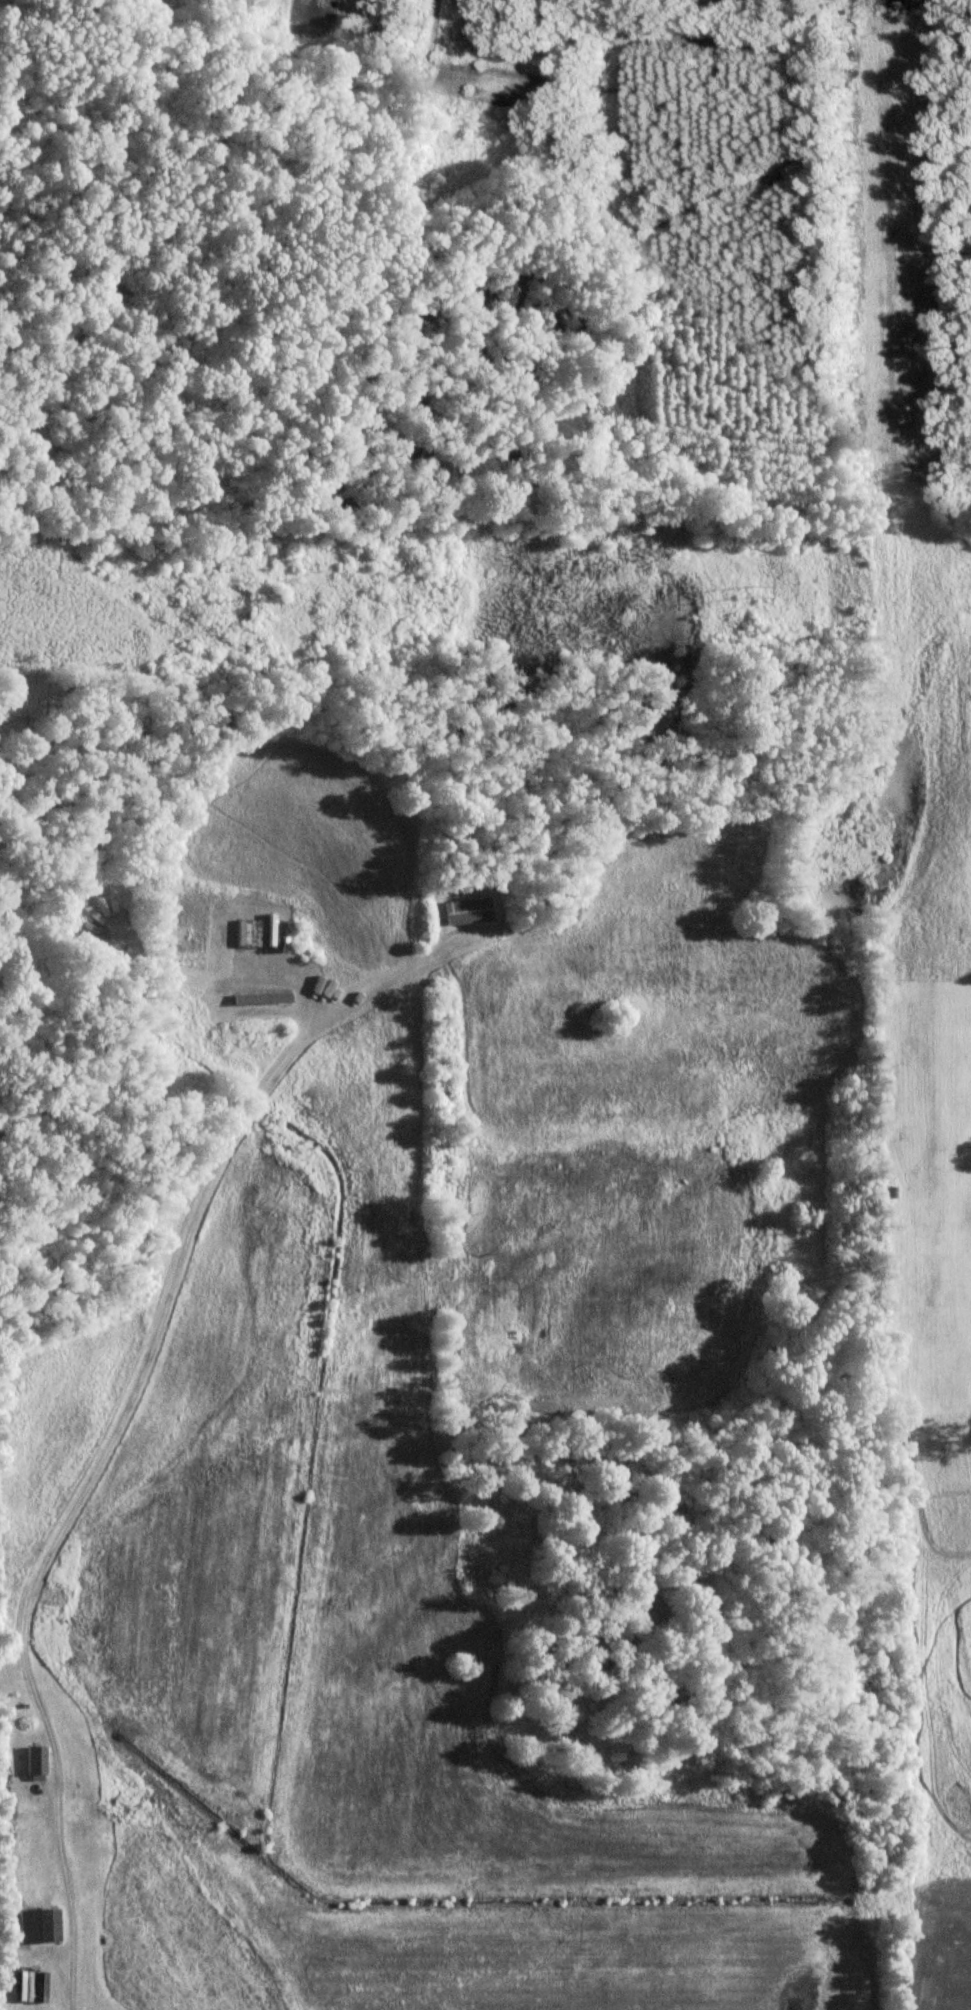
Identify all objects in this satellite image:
power tower: (749, 594)
power tower: (237, 606)
building: (468, 909)
building: (248, 932)
building: (34, 1758)
building: (39, 1924)
building: (25, 1984)

